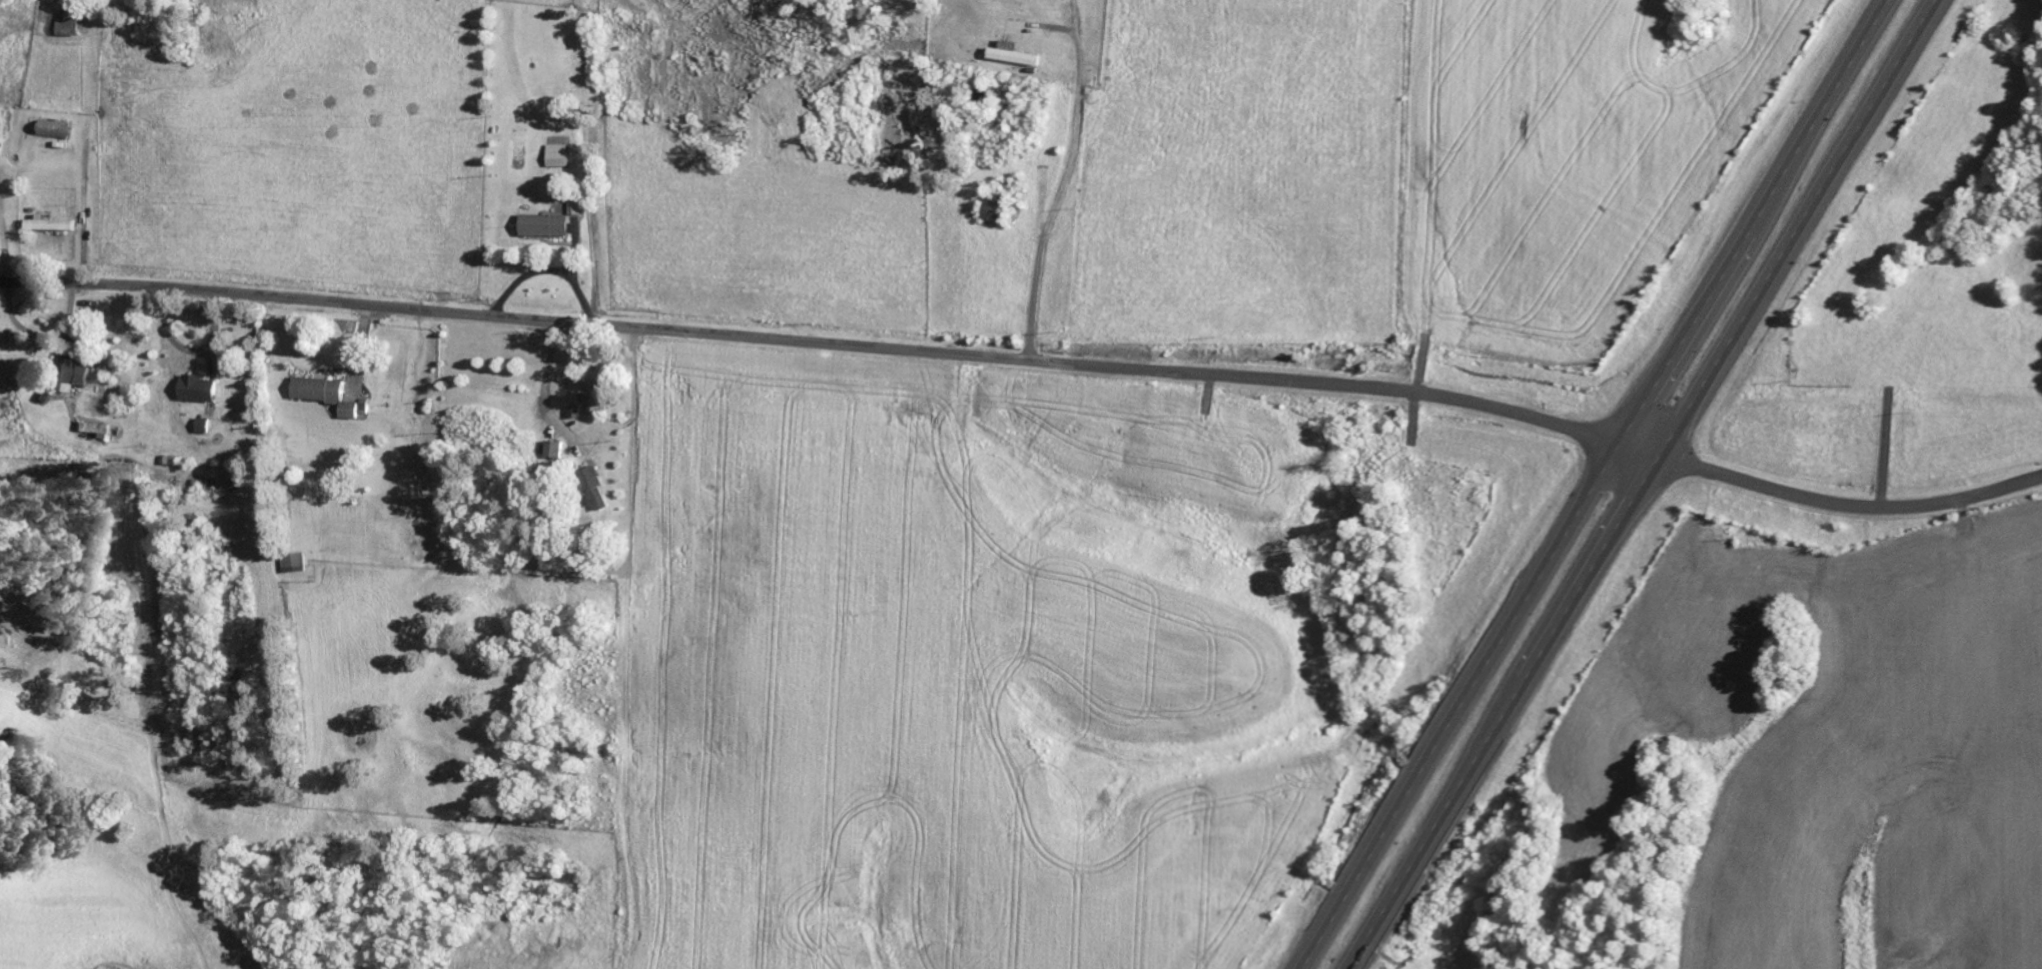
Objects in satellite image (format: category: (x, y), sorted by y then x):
building: (1015, 55)
building: (577, 208)
building: (51, 224)
building: (548, 226)
road: (1029, 359)
building: (602, 386)
building: (201, 389)
building: (332, 396)
building: (577, 412)
building: (206, 426)
building: (92, 430)
building: (556, 450)
road: (1594, 484)
road: (1641, 485)
building: (600, 489)
building: (296, 563)

